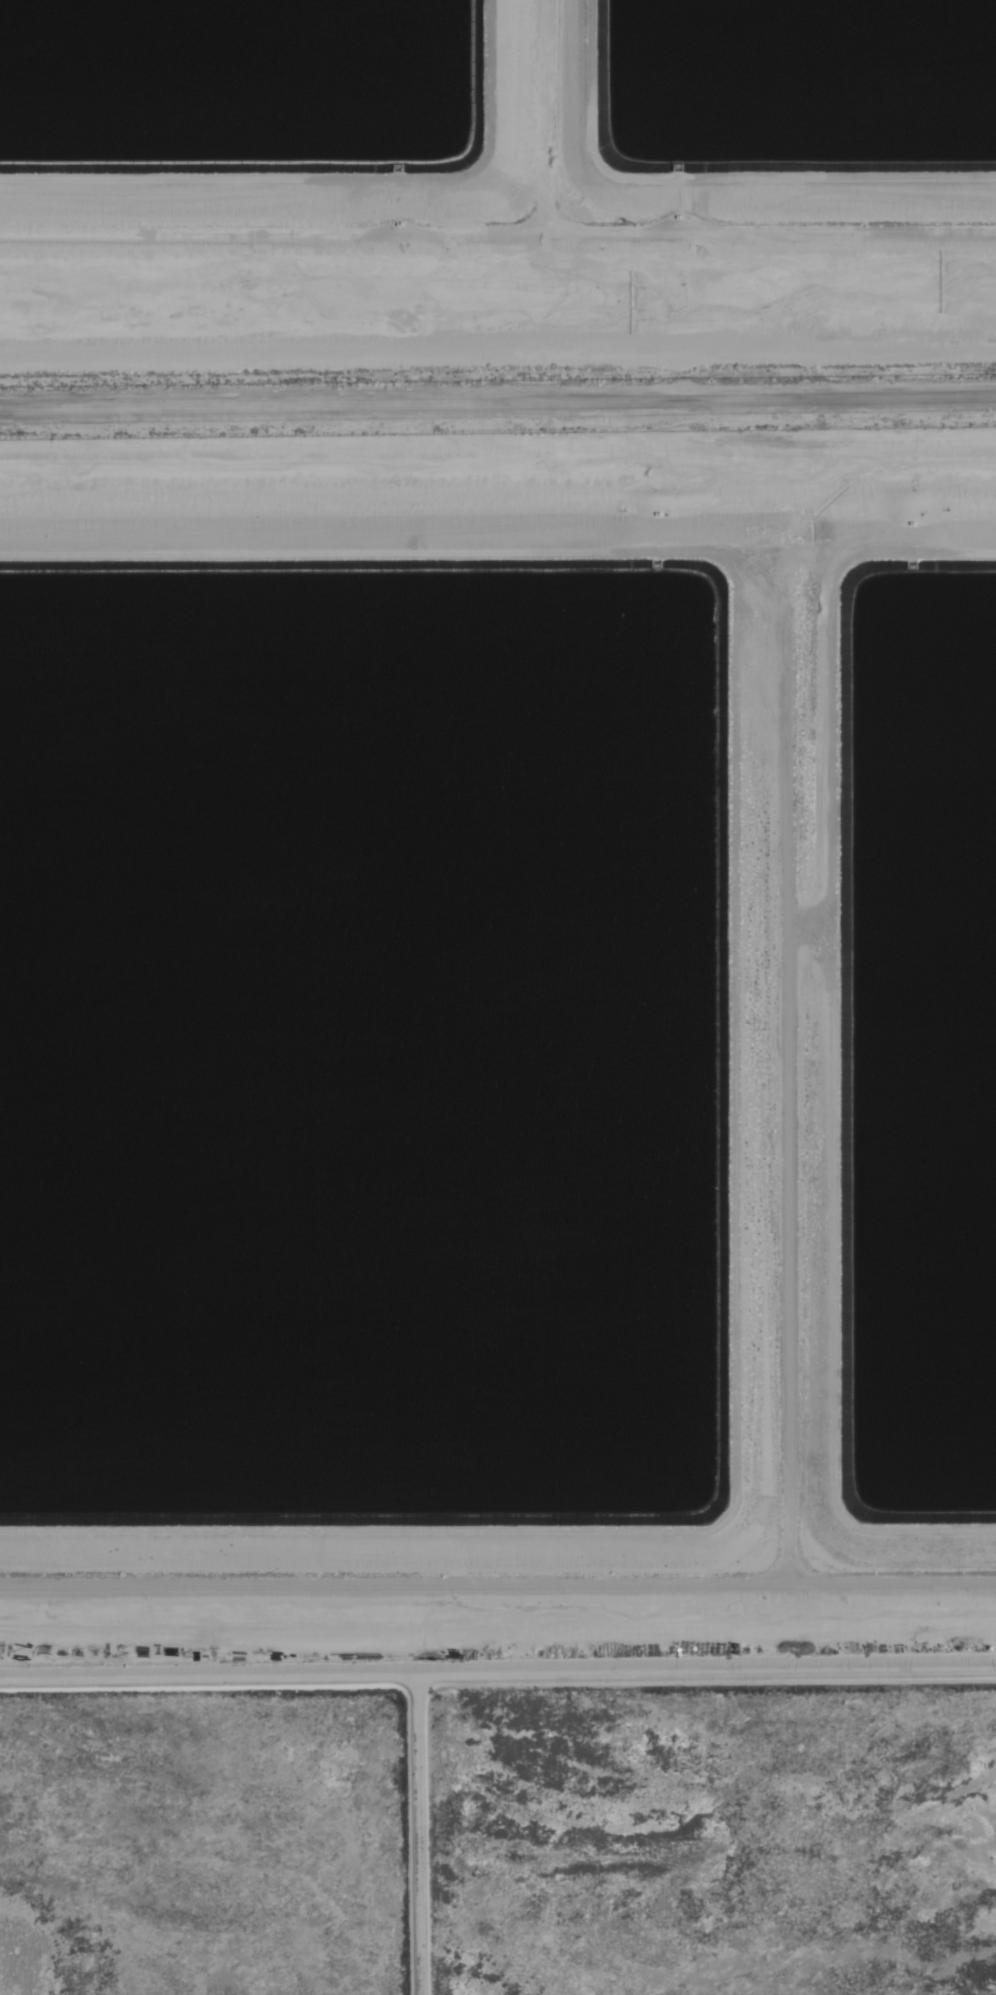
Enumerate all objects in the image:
wastewater plant: (495, 183)
road: (498, 406)
road: (780, 1073)
wastewater plant: (498, 1212)
road: (497, 1584)

